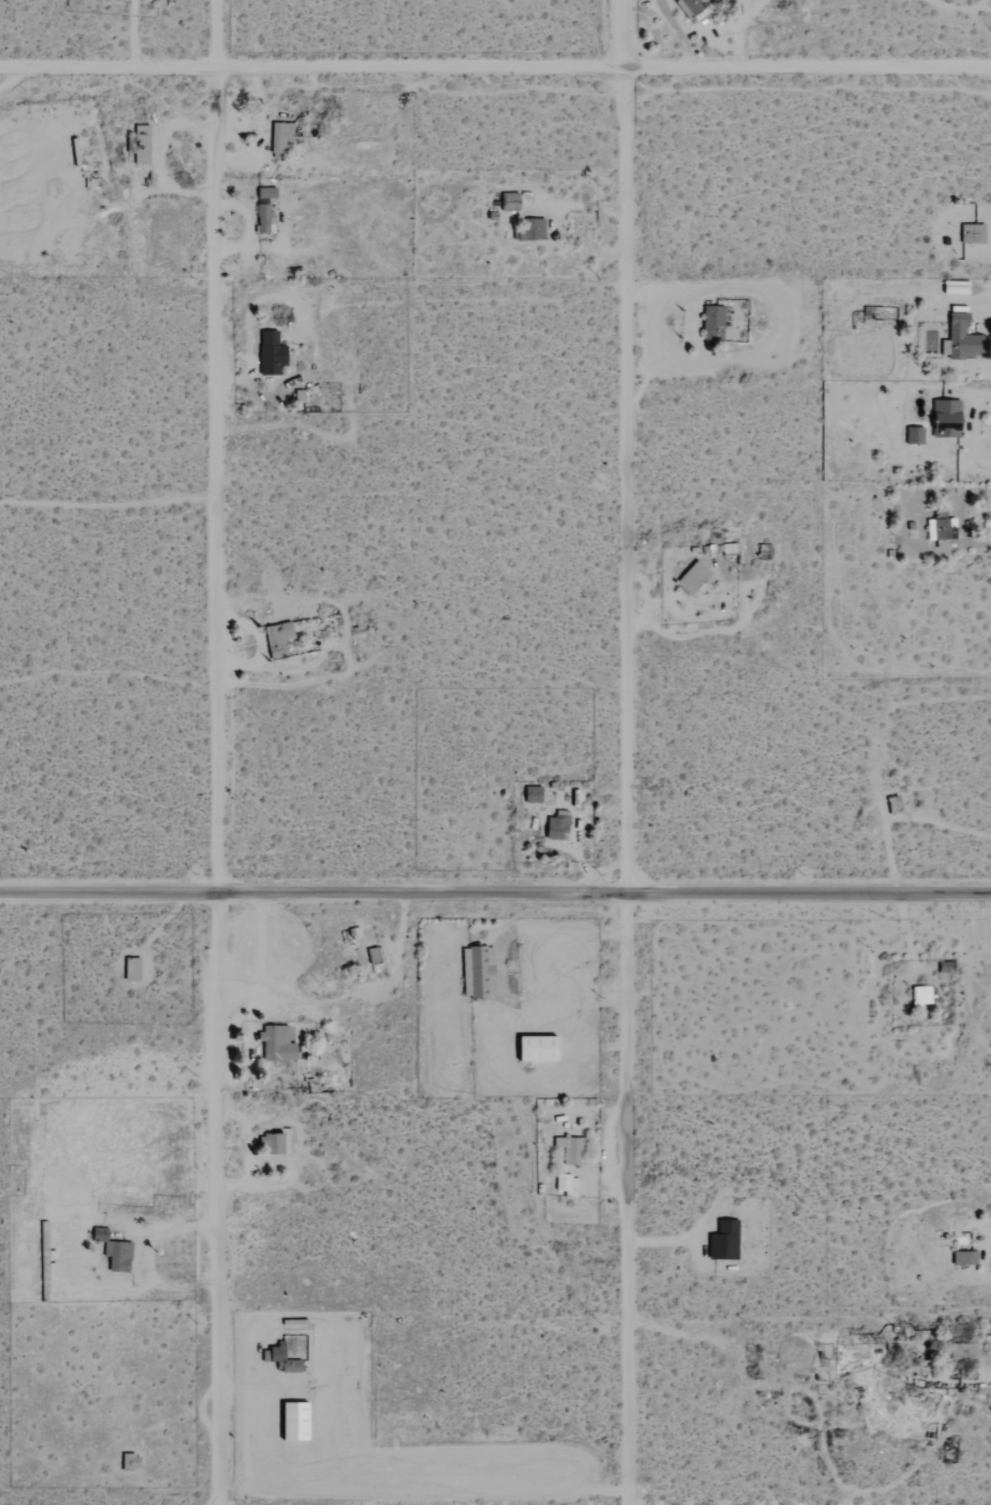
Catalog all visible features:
building: (690, 7)
road: (495, 67)
building: (139, 143)
building: (264, 191)
building: (508, 200)
building: (262, 217)
building: (530, 227)
building: (712, 322)
building: (961, 337)
building: (270, 353)
building: (944, 417)
building: (913, 434)
road: (216, 446)
road: (617, 446)
building: (940, 527)
building: (691, 577)
building: (276, 638)
building: (531, 794)
building: (554, 826)
road: (495, 893)
building: (129, 968)
building: (476, 971)
building: (920, 994)
building: (275, 1044)
building: (533, 1048)
building: (272, 1143)
building: (569, 1149)
building: (565, 1184)
road: (218, 1199)
road: (626, 1199)
building: (722, 1240)
building: (963, 1257)
building: (281, 1359)
building: (291, 1421)
building: (128, 1462)

